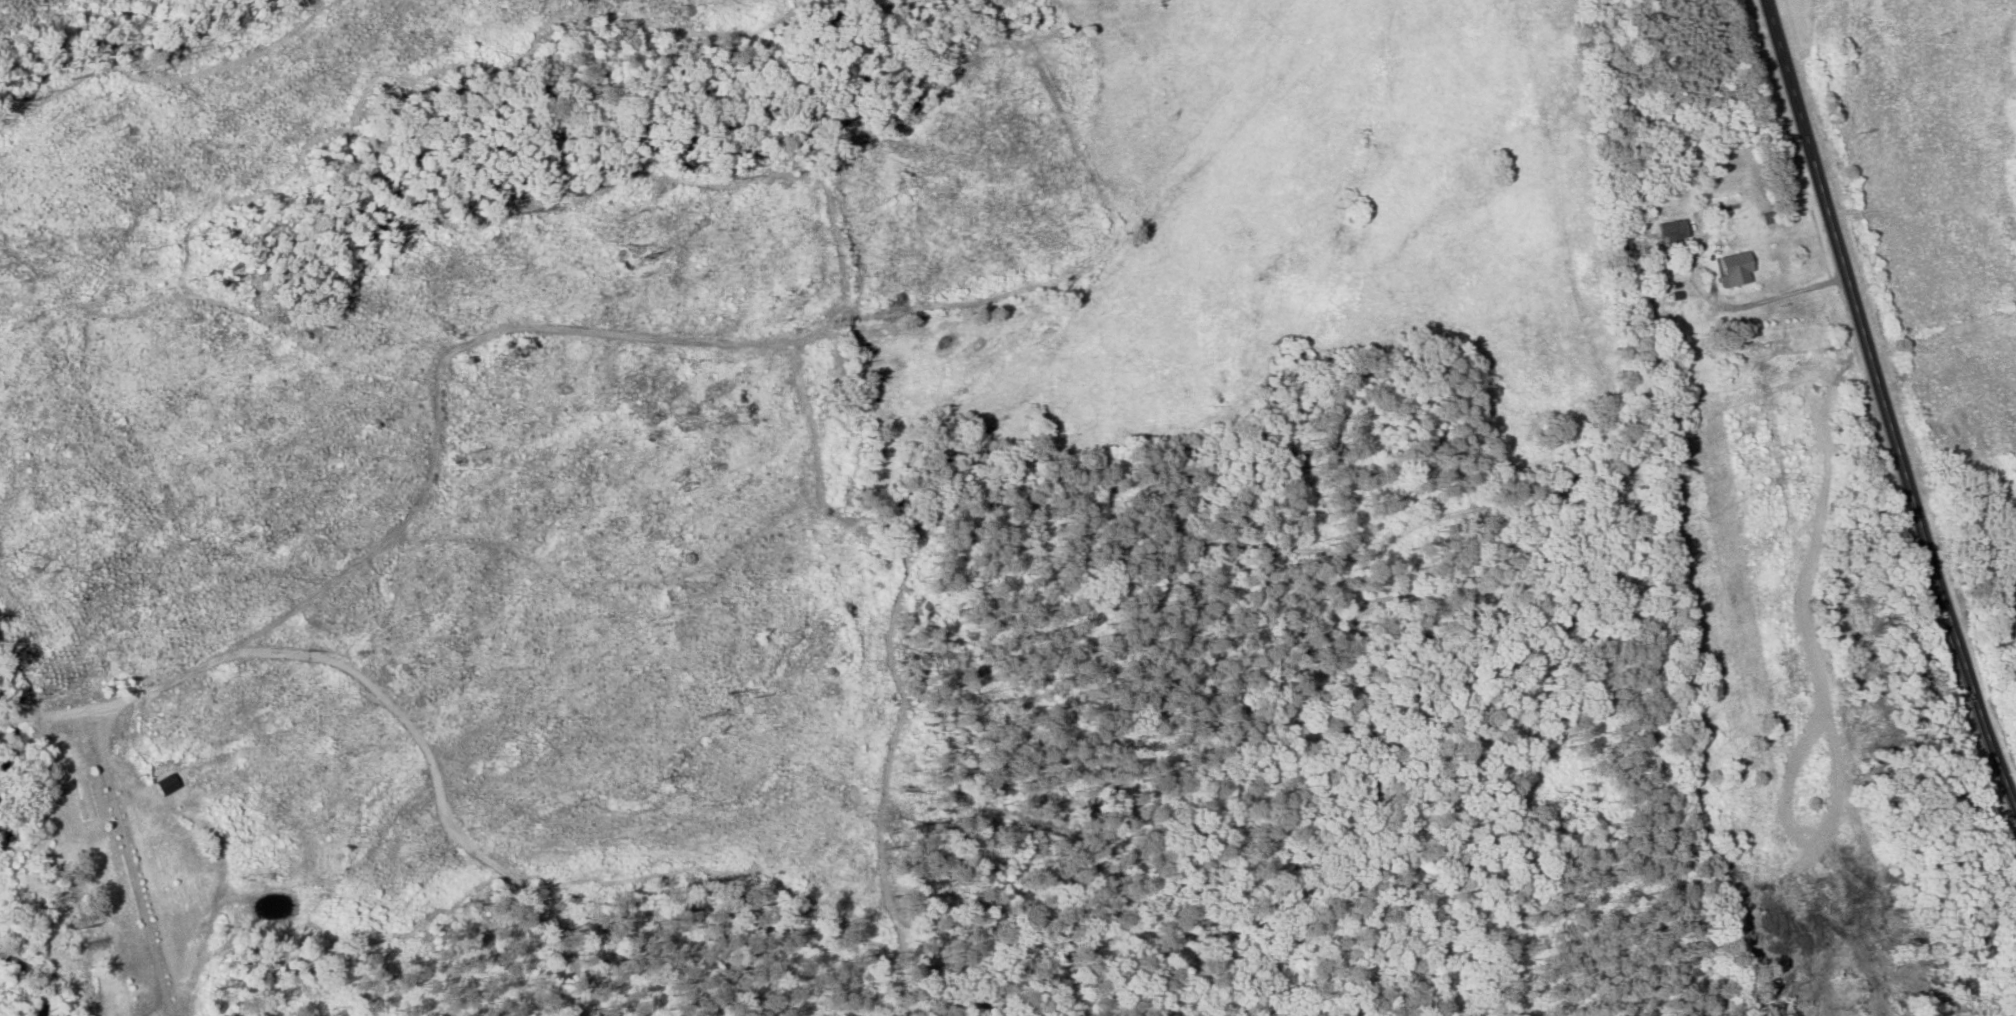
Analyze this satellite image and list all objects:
building: (1671, 233)
building: (1735, 270)
road: (1885, 404)

